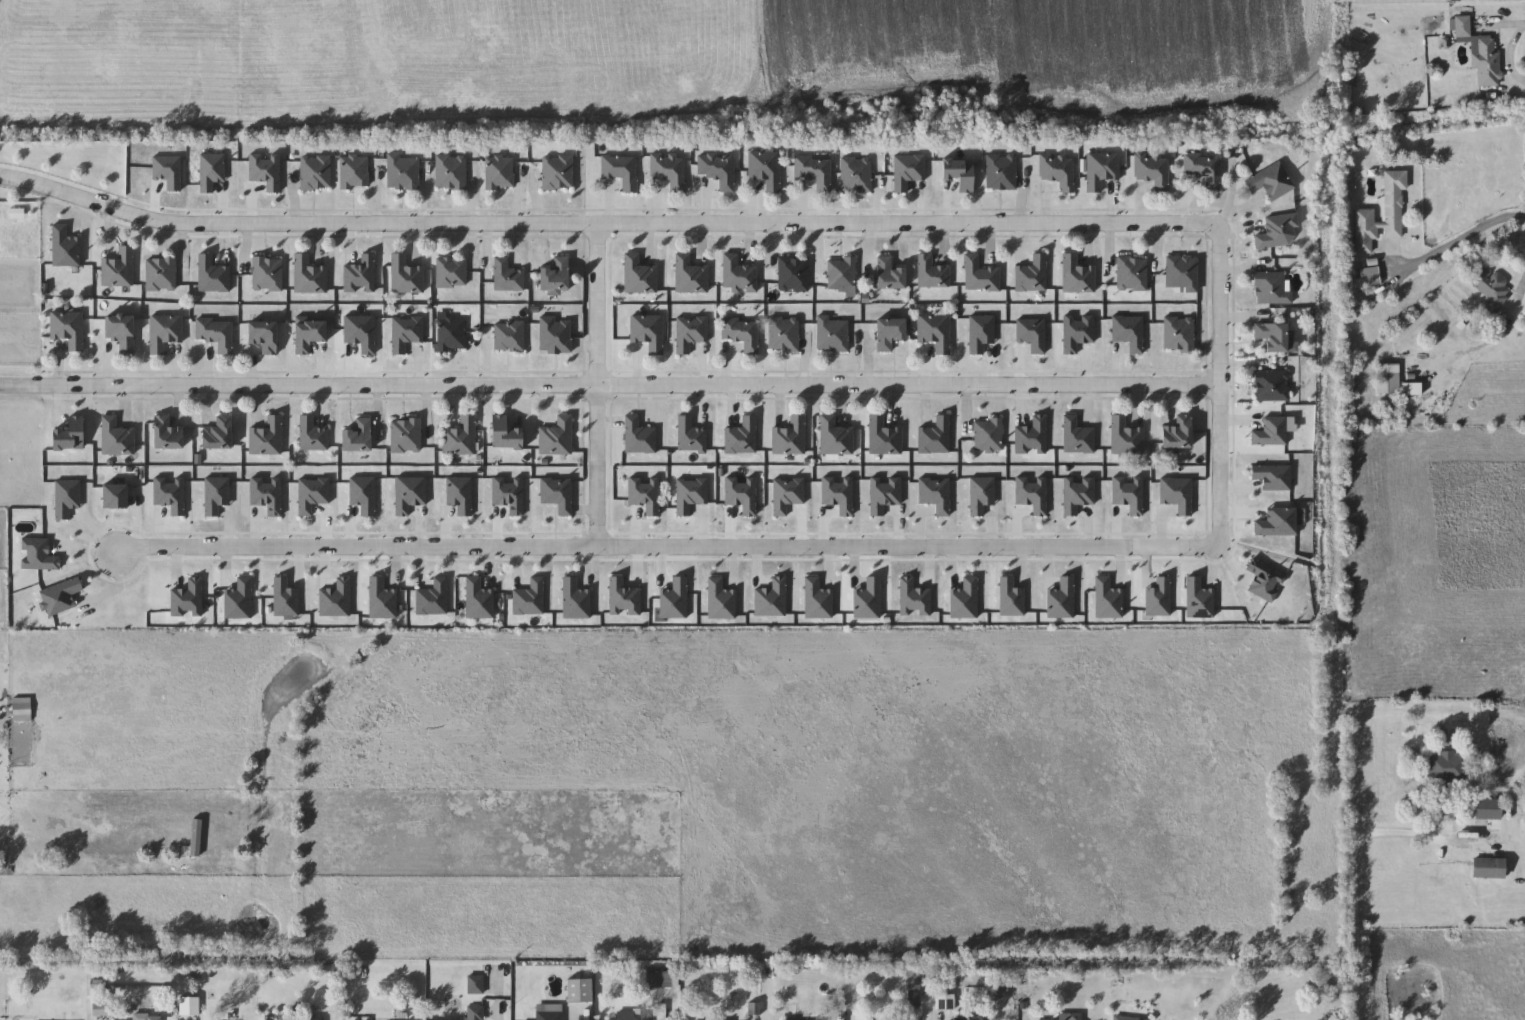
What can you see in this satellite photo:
road: (1500, 25)
building: (1462, 26)
road: (1512, 57)
building: (1487, 64)
building: (765, 169)
building: (1100, 169)
building: (1203, 169)
building: (620, 170)
building: (669, 170)
building: (717, 170)
building: (814, 171)
building: (1059, 171)
building: (1153, 171)
building: (402, 172)
building: (451, 172)
building: (557, 172)
building: (1001, 172)
building: (315, 173)
building: (354, 173)
building: (499, 173)
building: (856, 175)
building: (1270, 182)
building: (1364, 215)
road: (608, 222)
building: (1277, 231)
road: (1458, 238)
building: (118, 269)
building: (451, 272)
building: (931, 272)
building: (1181, 273)
building: (160, 274)
building: (267, 274)
building: (793, 274)
building: (841, 274)
building: (888, 274)
building: (1131, 274)
building: (554, 275)
building: (639, 275)
building: (690, 275)
building: (738, 275)
building: (980, 275)
building: (308, 276)
building: (405, 276)
building: (506, 276)
building: (1076, 276)
building: (1368, 278)
building: (1271, 288)
building: (1491, 288)
building: (67, 329)
building: (119, 332)
building: (647, 332)
building: (934, 332)
building: (163, 333)
building: (887, 333)
building: (215, 334)
building: (451, 334)
building: (741, 334)
building: (832, 334)
building: (1178, 334)
building: (783, 335)
building: (508, 336)
building: (1271, 336)
building: (262, 337)
road: (1485, 345)
building: (1388, 379)
road: (611, 382)
road: (603, 384)
road: (1223, 384)
building: (1270, 386)
building: (1412, 391)
building: (216, 434)
building: (166, 435)
building: (1176, 435)
building: (405, 436)
building: (689, 436)
building: (987, 436)
building: (356, 437)
building: (556, 437)
building: (834, 437)
building: (115, 438)
building: (266, 438)
building: (459, 438)
building: (742, 438)
building: (790, 438)
building: (882, 438)
building: (1124, 438)
road: (669, 547)
building: (21, 710)
building: (1448, 769)
road: (1524, 772)
road: (1355, 785)
building: (1487, 809)
road: (1415, 836)
building: (1488, 868)
building: (476, 985)
building: (579, 991)
road: (661, 1008)
building: (549, 1012)
building: (475, 1013)
road: (580, 1015)
building: (630, 1016)
building: (146, 1017)
building: (1066, 1017)
building: (303, 1018)
building: (970, 1018)
building: (1127, 1018)
road: (106, 1019)
road: (501, 1019)
road: (755, 1019)

